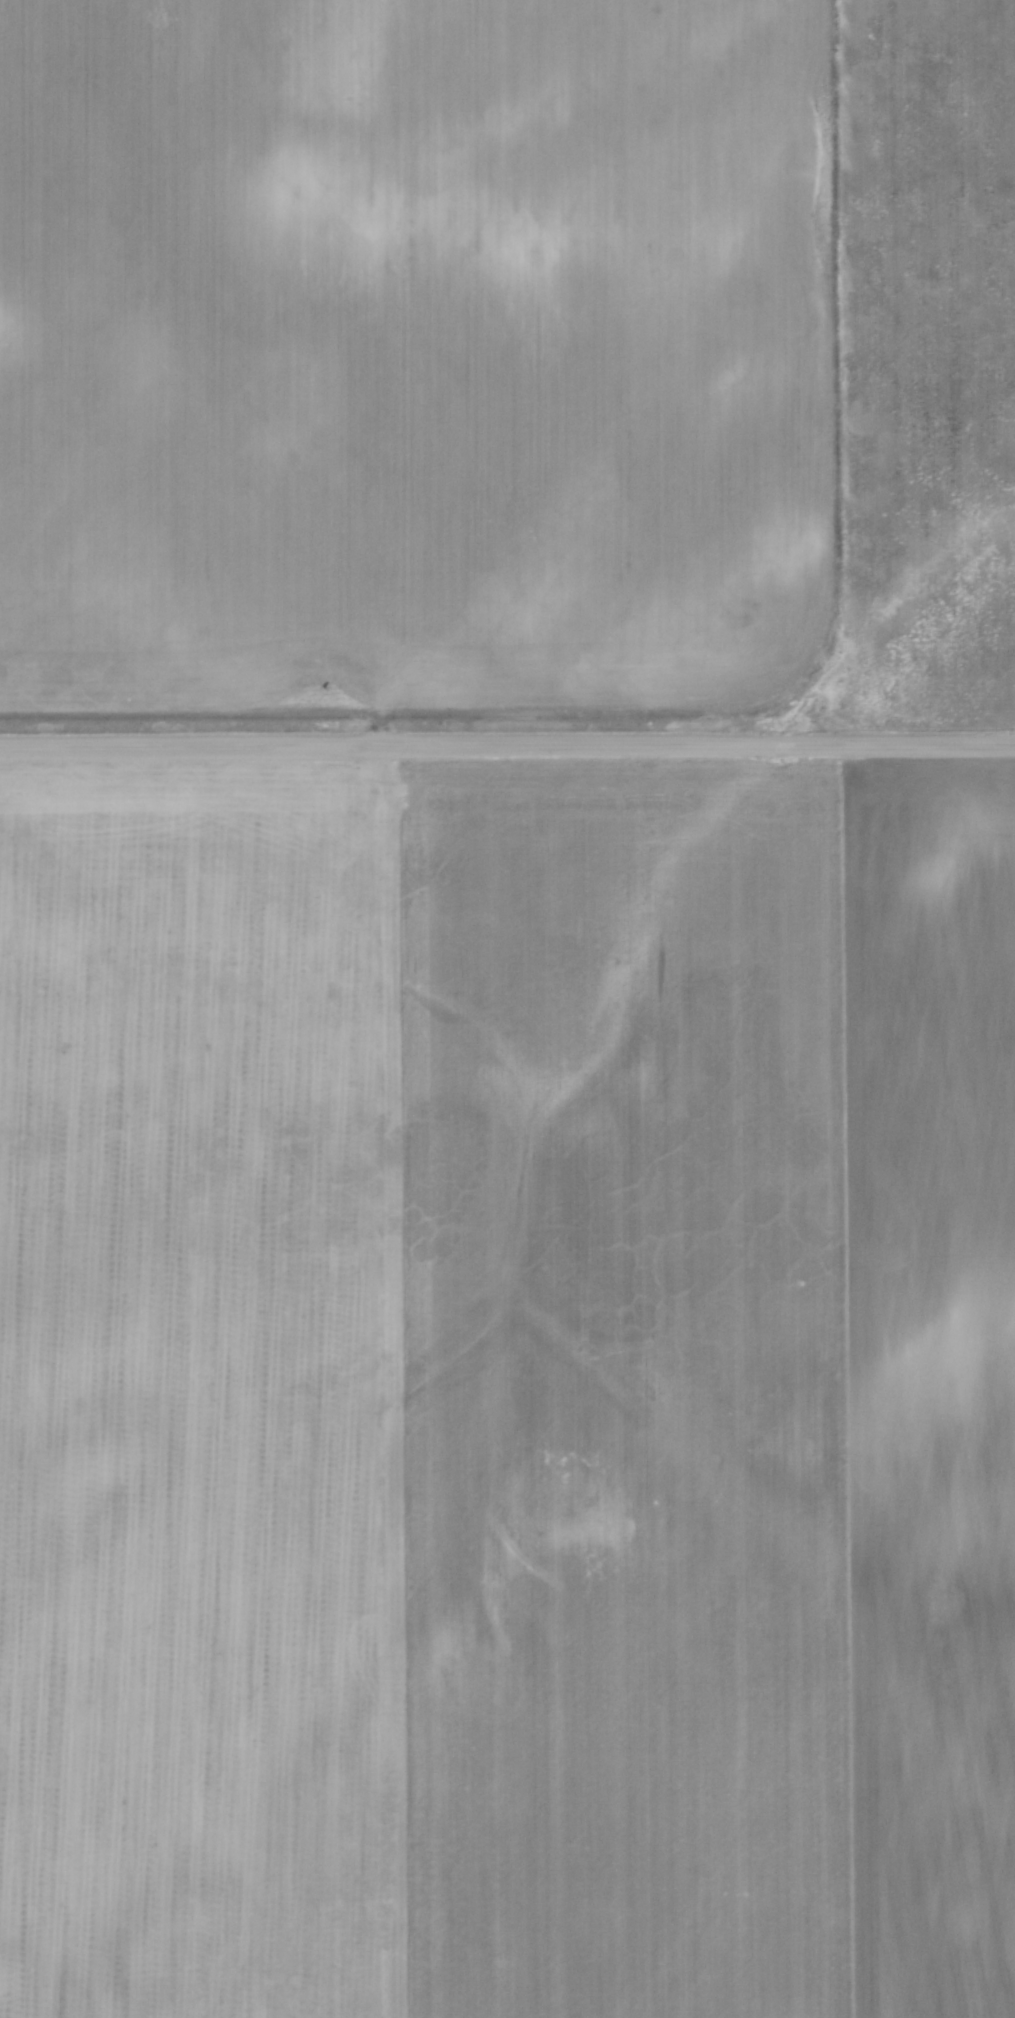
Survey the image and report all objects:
road: (507, 745)

